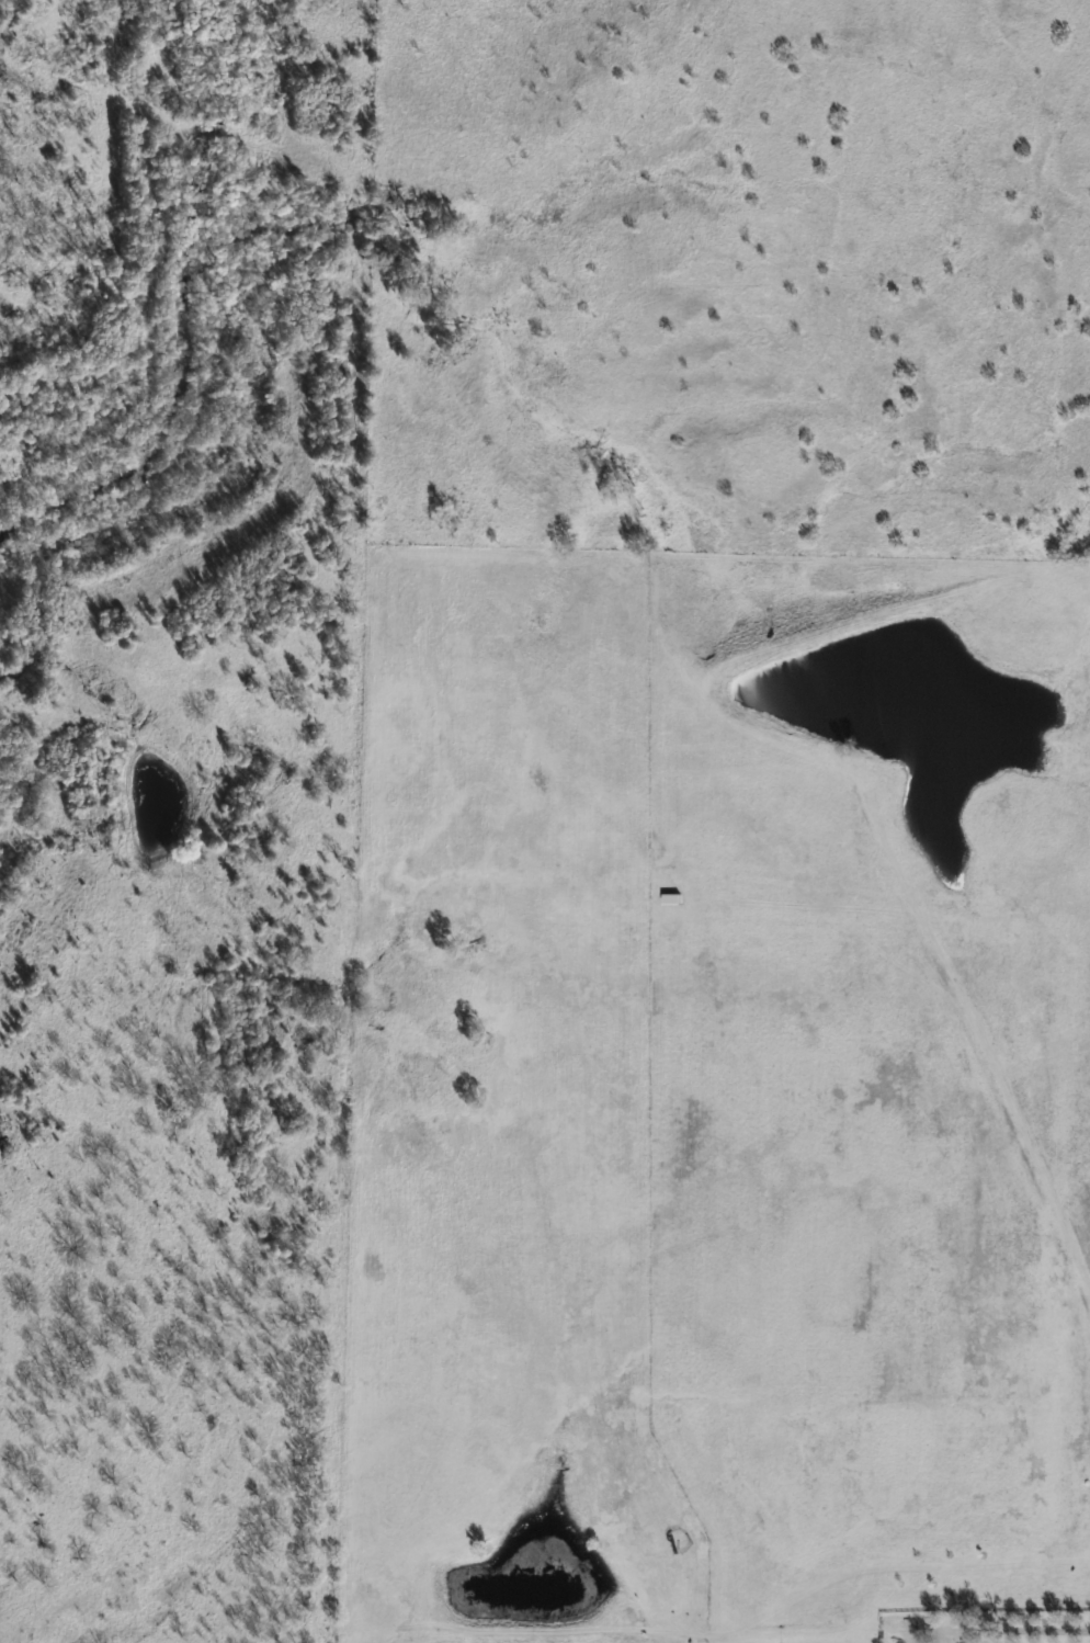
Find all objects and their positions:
road: (1048, 1631)

